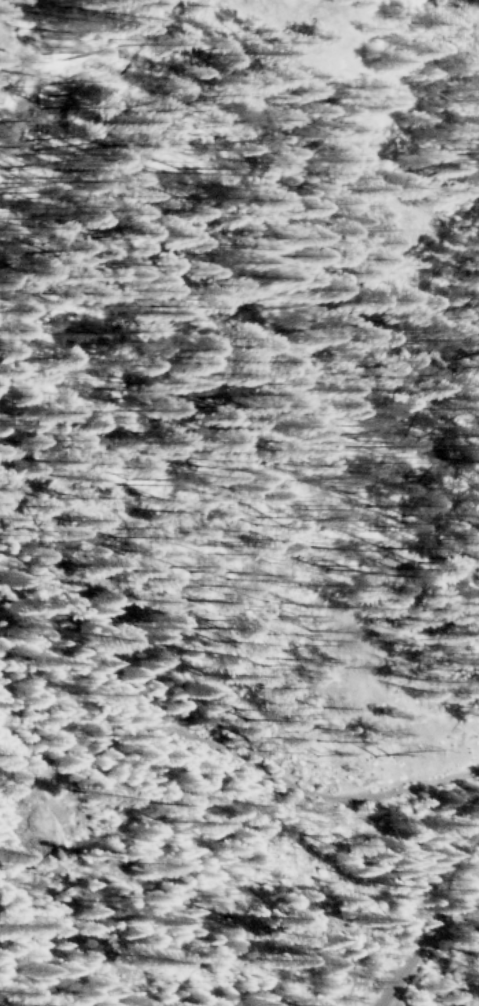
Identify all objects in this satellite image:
road: (203, 470)
road: (253, 766)
road: (421, 935)

